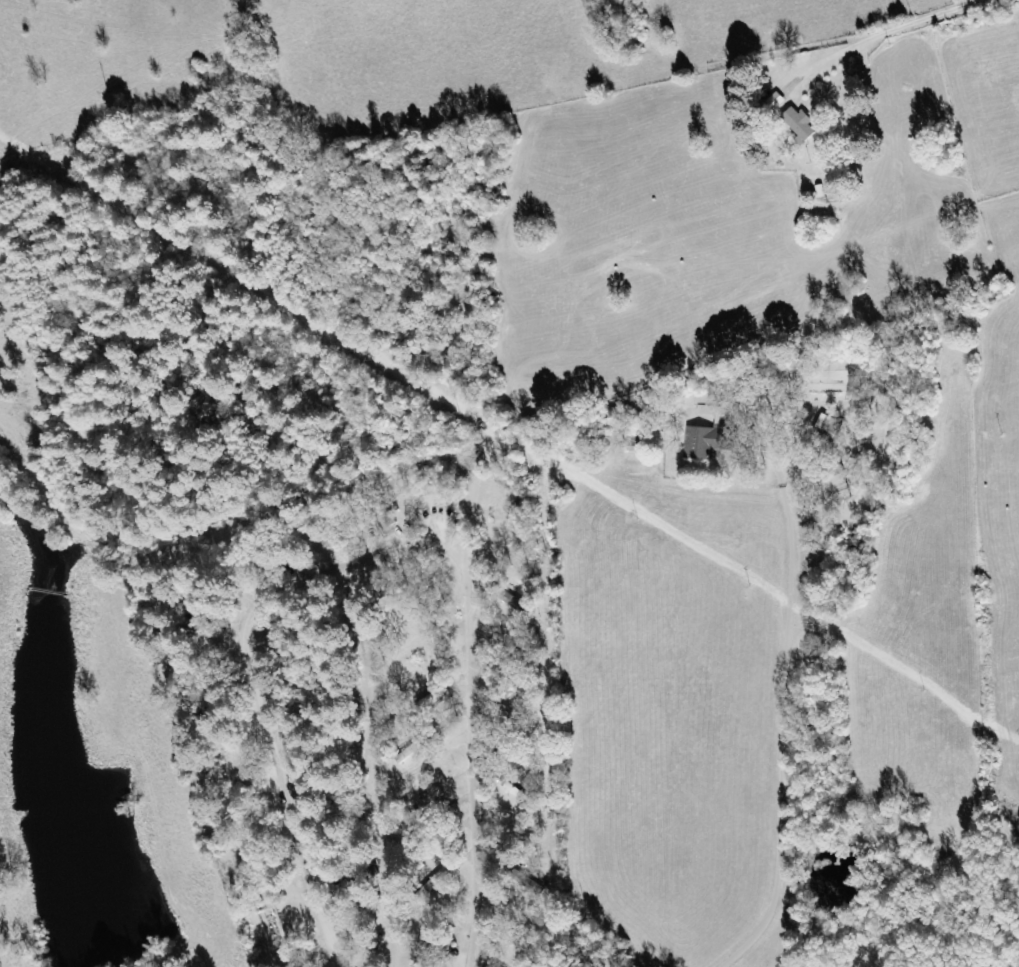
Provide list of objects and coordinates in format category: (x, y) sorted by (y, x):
building: (777, 101)
building: (801, 123)
building: (829, 428)
building: (708, 441)
road: (368, 562)
building: (205, 665)
building: (410, 752)
road: (781, 760)
building: (418, 774)
building: (431, 800)
building: (310, 965)

